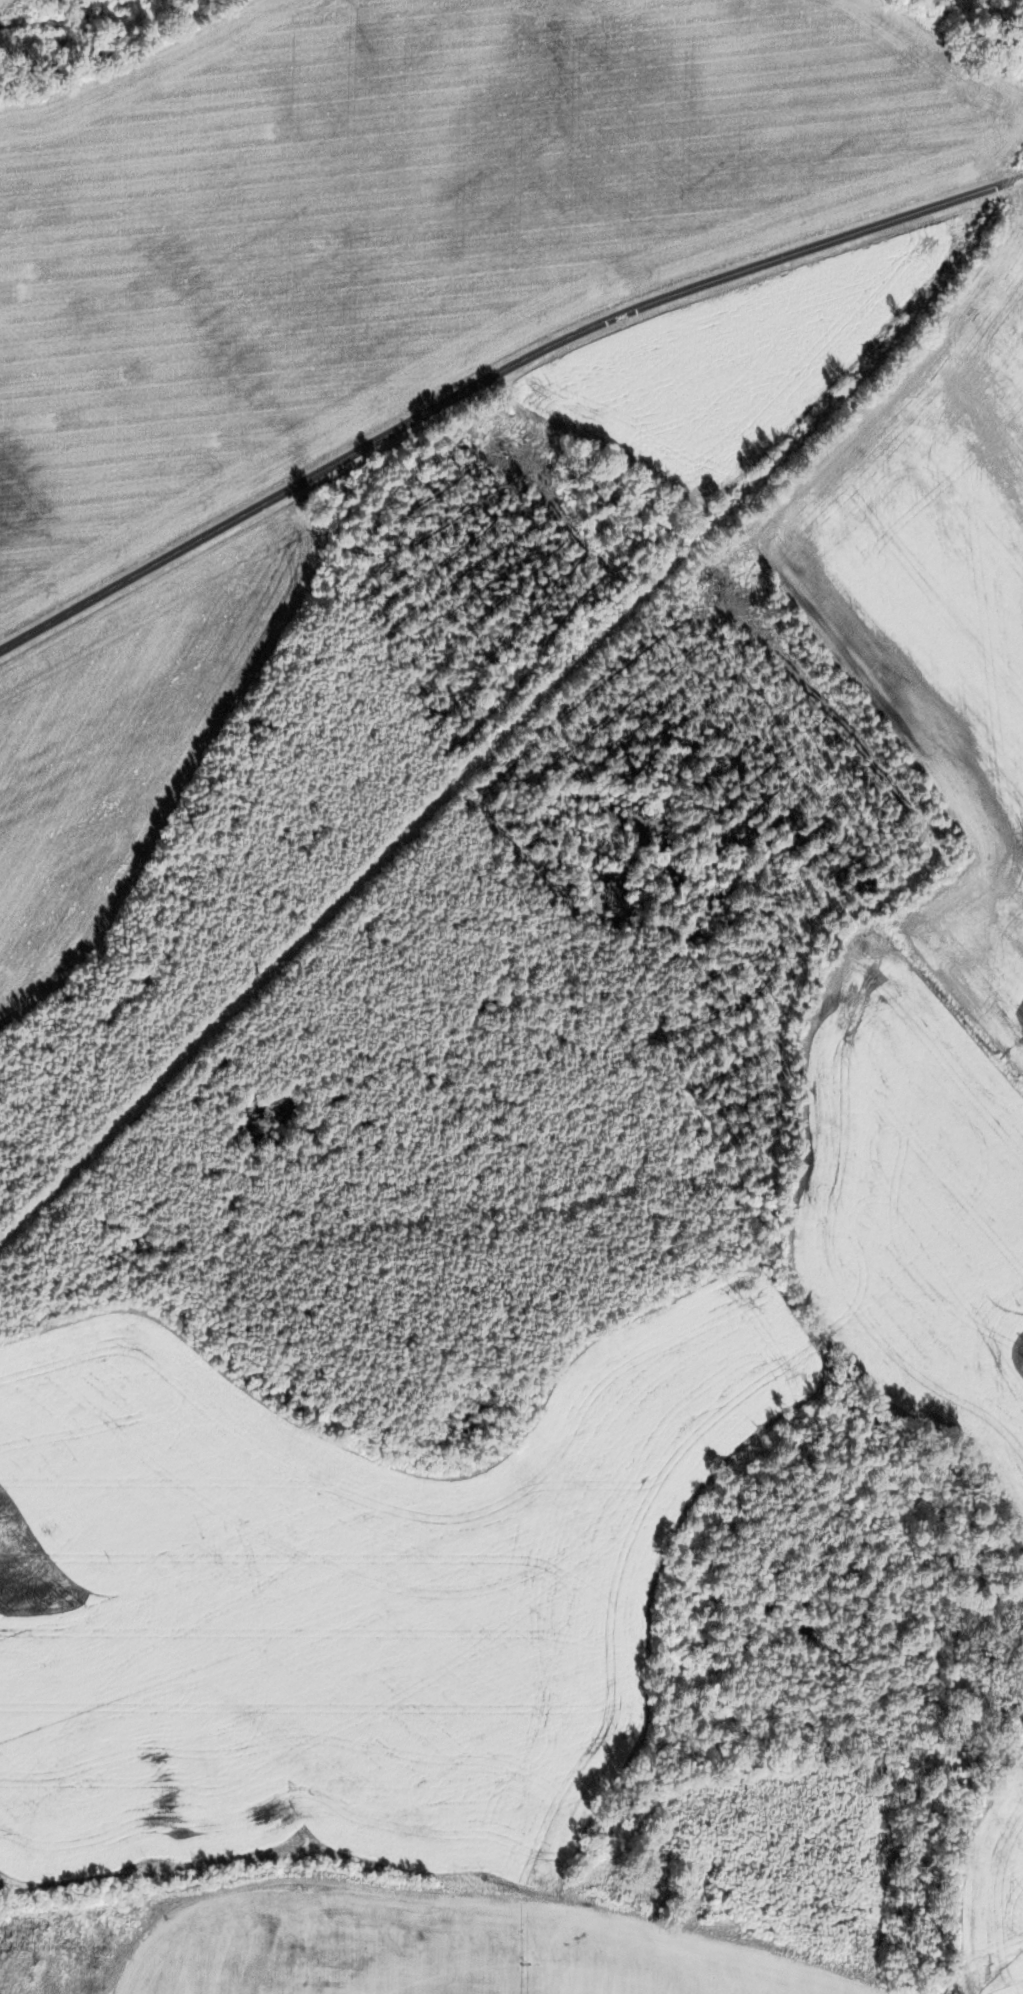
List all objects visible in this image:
road: (494, 376)
railway: (523, 707)
building: (735, 1882)

